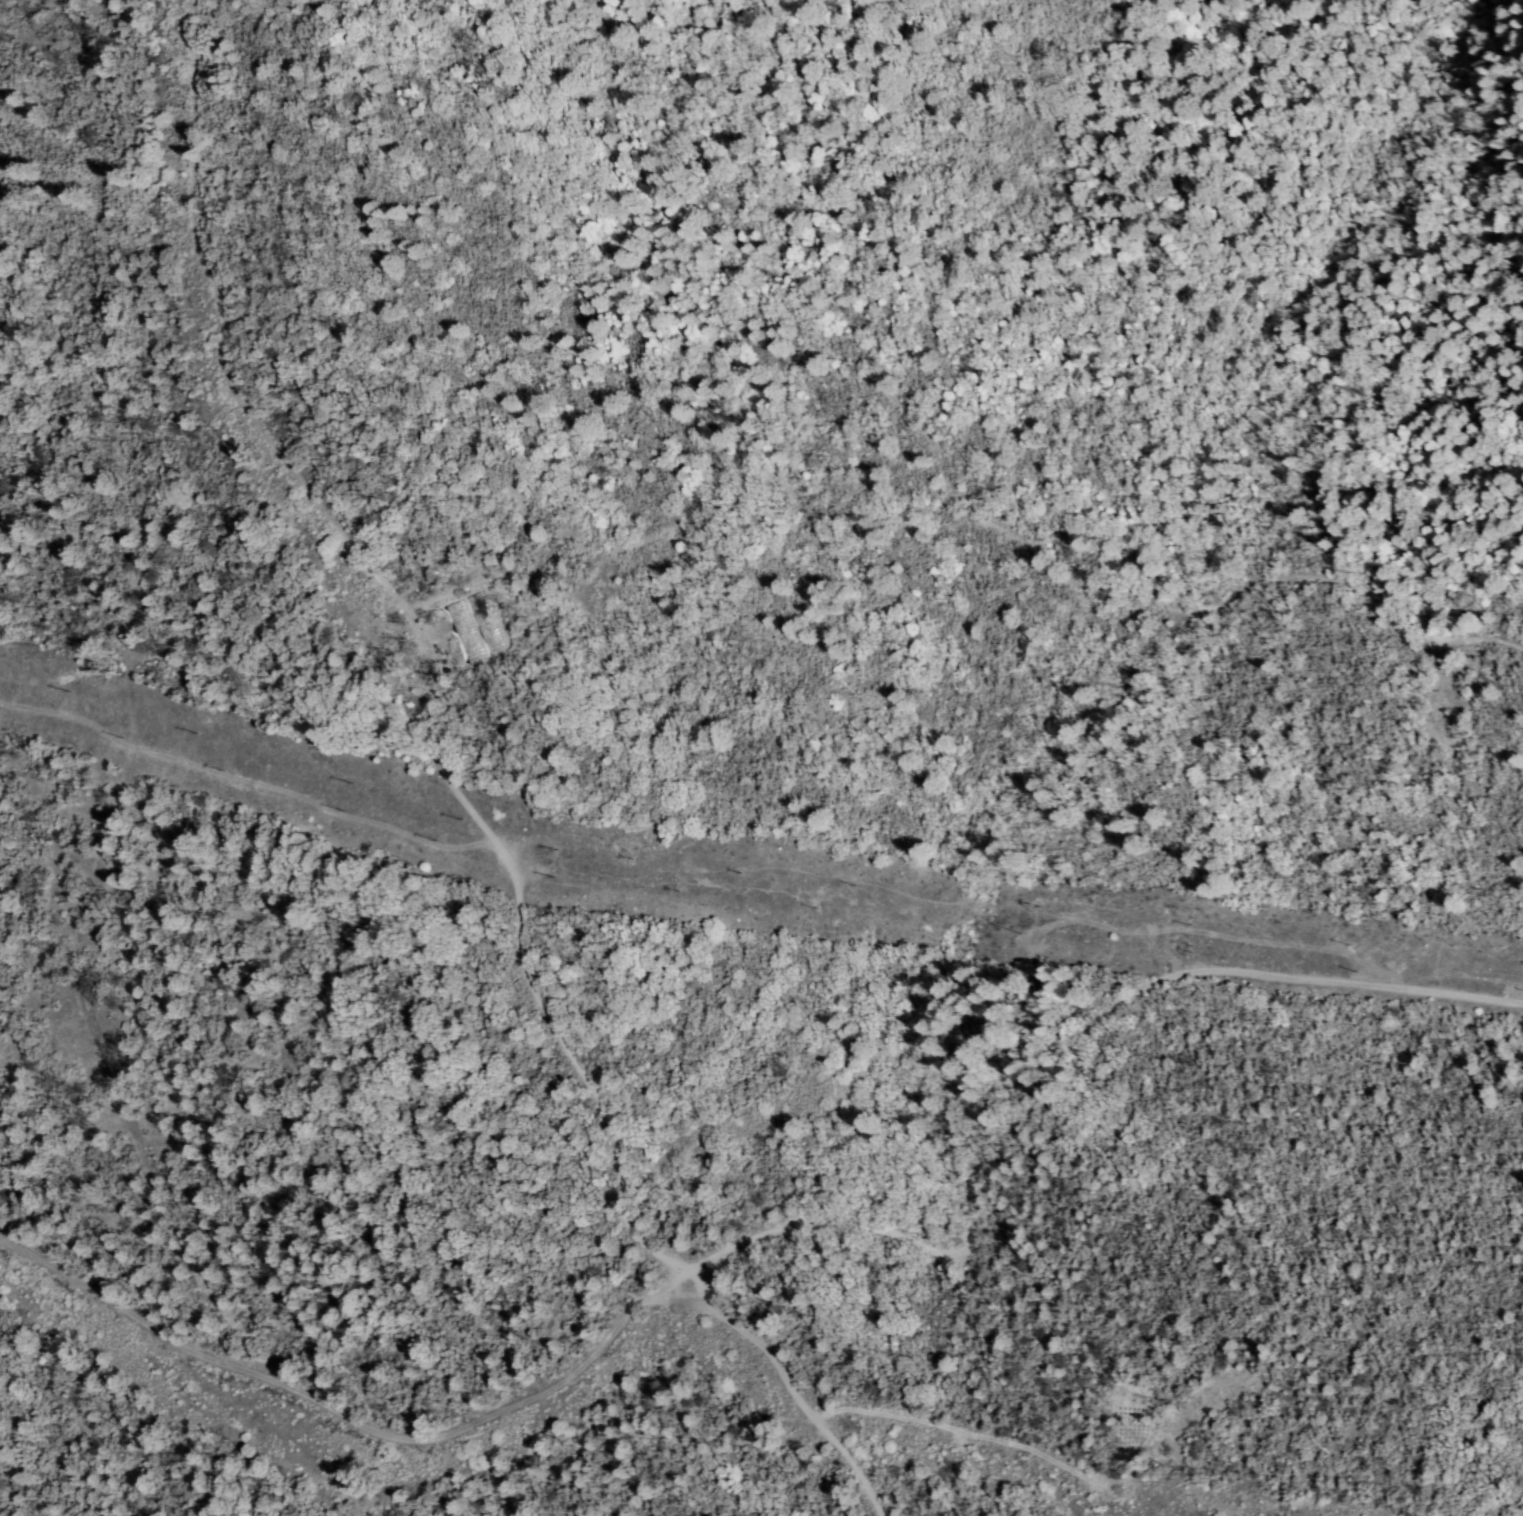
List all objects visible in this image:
road: (790, 1229)

